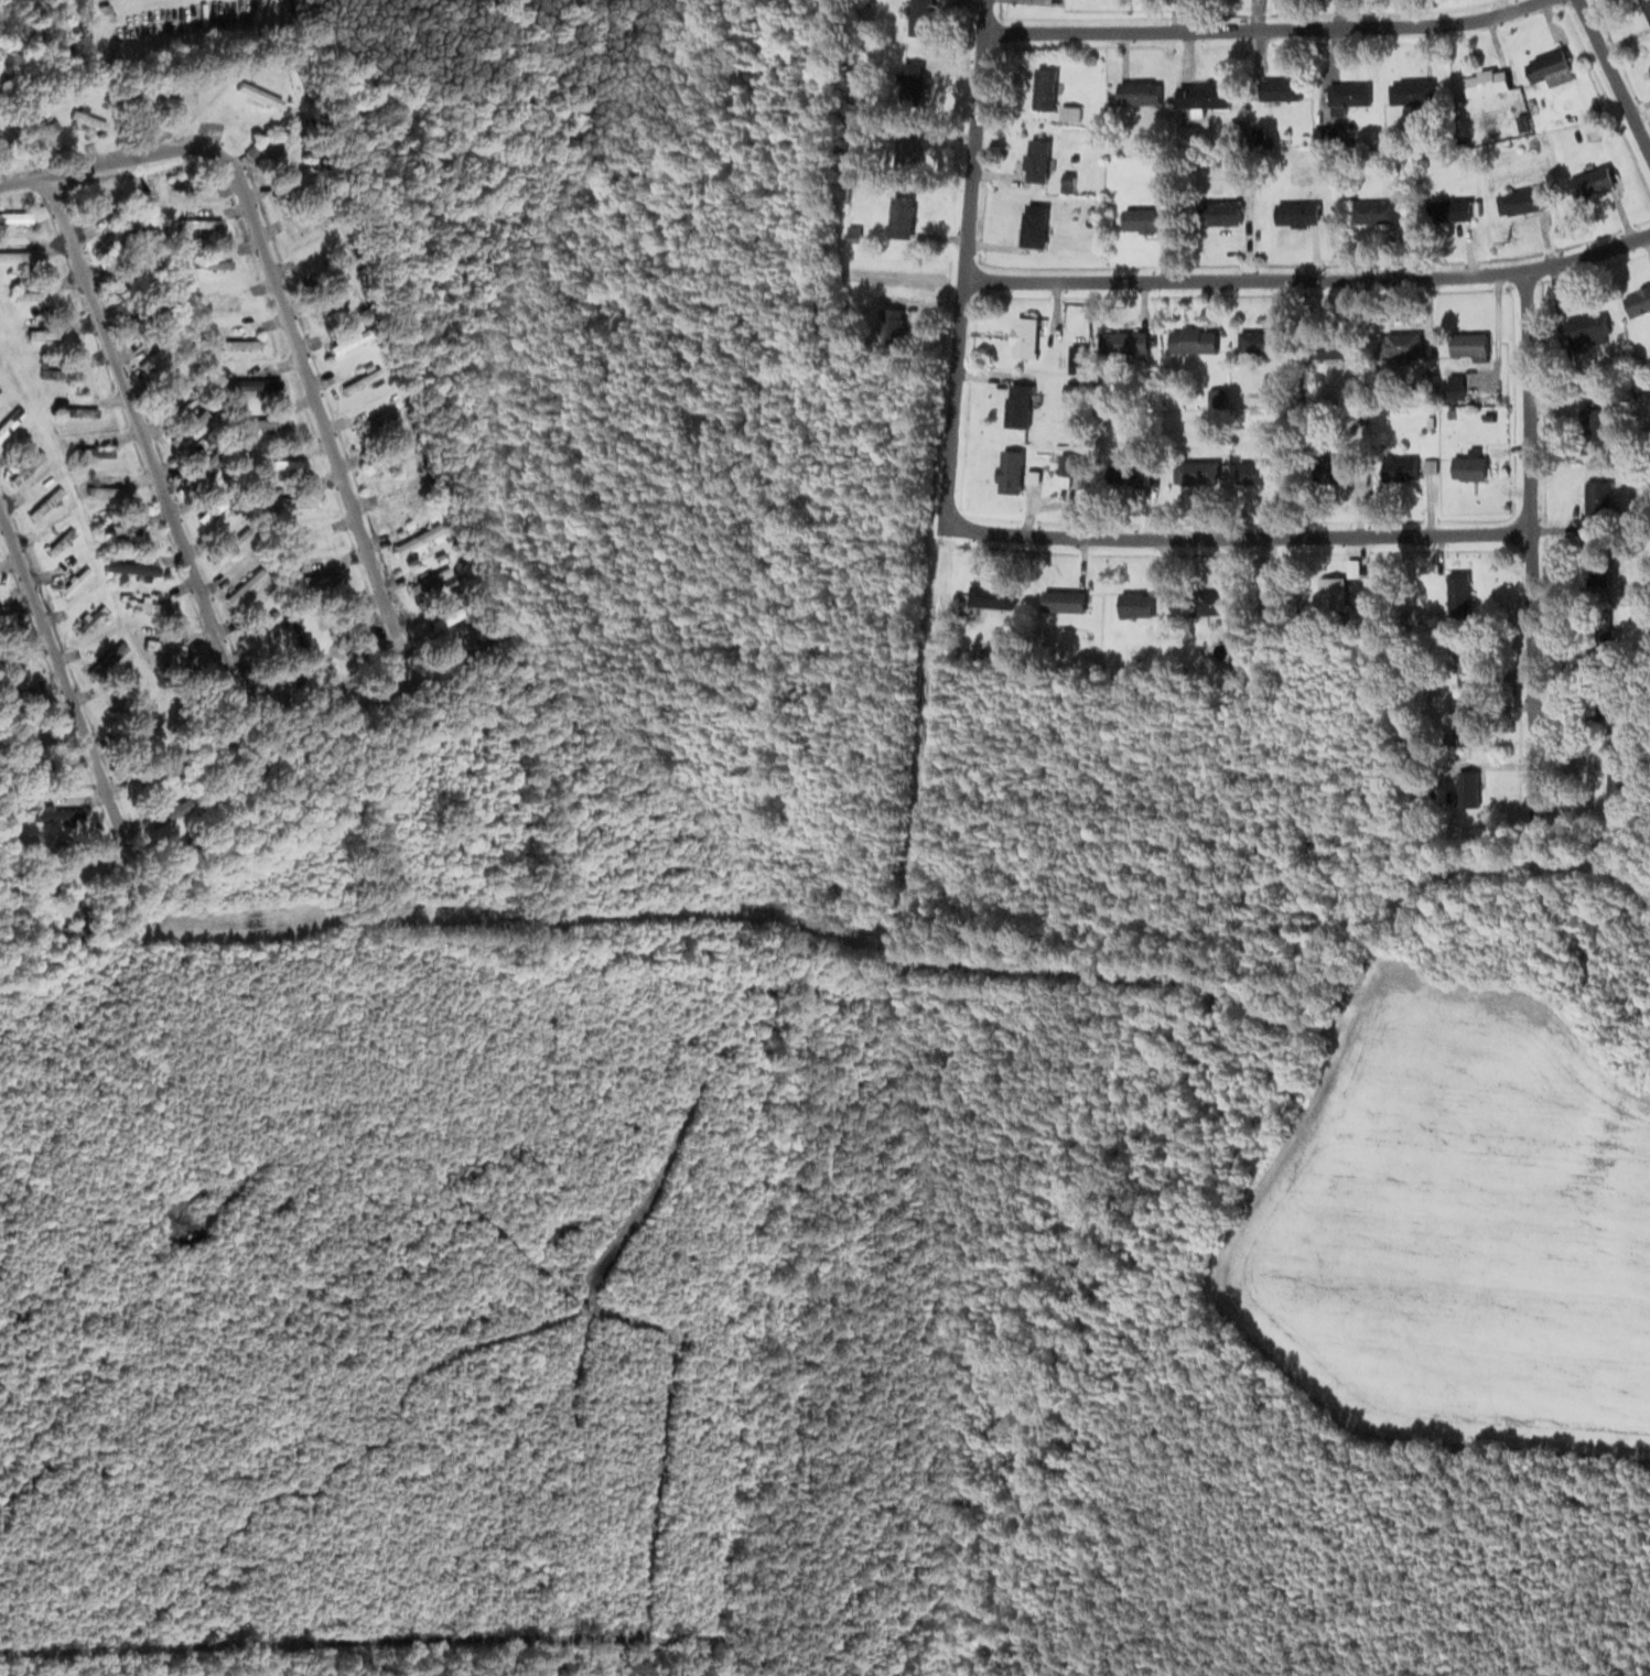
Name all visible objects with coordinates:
building: (1646, 9)
road: (1257, 25)
building: (1547, 66)
building: (1485, 80)
road: (1613, 80)
building: (909, 82)
building: (242, 85)
building: (1042, 87)
building: (1277, 89)
building: (1410, 90)
building: (1137, 91)
building: (1200, 94)
building: (1346, 94)
building: (140, 108)
building: (45, 132)
building: (1328, 138)
building: (274, 143)
building: (6, 149)
building: (905, 152)
building: (1034, 159)
building: (1065, 180)
building: (1589, 181)
building: (185, 183)
building: (290, 183)
building: (1519, 199)
building: (1447, 208)
building: (1374, 209)
building: (1295, 212)
building: (1221, 214)
building: (19, 215)
building: (899, 215)
building: (1143, 218)
building: (197, 221)
building: (301, 221)
building: (1032, 224)
building: (112, 234)
building: (19, 255)
building: (212, 261)
road: (961, 262)
road: (273, 274)
road: (1308, 275)
building: (30, 293)
building: (1637, 300)
building: (333, 301)
building: (220, 302)
building: (888, 323)
building: (41, 332)
building: (1587, 332)
building: (1022, 335)
building: (1190, 338)
building: (346, 340)
building: (1121, 340)
building: (1259, 340)
building: (237, 343)
building: (1398, 344)
building: (1467, 344)
building: (57, 370)
building: (358, 379)
building: (255, 382)
building: (176, 386)
building: (86, 411)
building: (1015, 412)
building: (11, 418)
road: (133, 418)
building: (373, 421)
building: (263, 422)
building: (1589, 422)
building: (93, 451)
building: (387, 456)
building: (281, 463)
building: (1339, 464)
building: (1466, 464)
building: (23, 466)
building: (1067, 467)
building: (1398, 468)
building: (1007, 469)
building: (1195, 471)
building: (1257, 472)
building: (1126, 474)
building: (104, 489)
building: (1596, 496)
building: (291, 499)
building: (398, 499)
building: (42, 501)
building: (208, 509)
building: (117, 528)
road: (1234, 536)
building: (413, 538)
building: (304, 539)
building: (58, 541)
road: (1529, 542)
building: (229, 544)
building: (129, 566)
building: (317, 579)
building: (427, 579)
building: (72, 581)
building: (242, 585)
building: (1331, 593)
building: (989, 595)
building: (1457, 595)
building: (1061, 601)
building: (1206, 602)
building: (1134, 604)
building: (149, 606)
road: (1269, 608)
building: (4, 616)
building: (441, 616)
building: (325, 618)
building: (87, 620)
building: (256, 627)
building: (161, 646)
building: (1462, 657)
building: (104, 659)
road: (61, 674)
building: (272, 677)
building: (1457, 691)
building: (25, 695)
building: (23, 736)
building: (147, 774)
building: (1465, 788)
building: (166, 811)
building: (54, 813)

